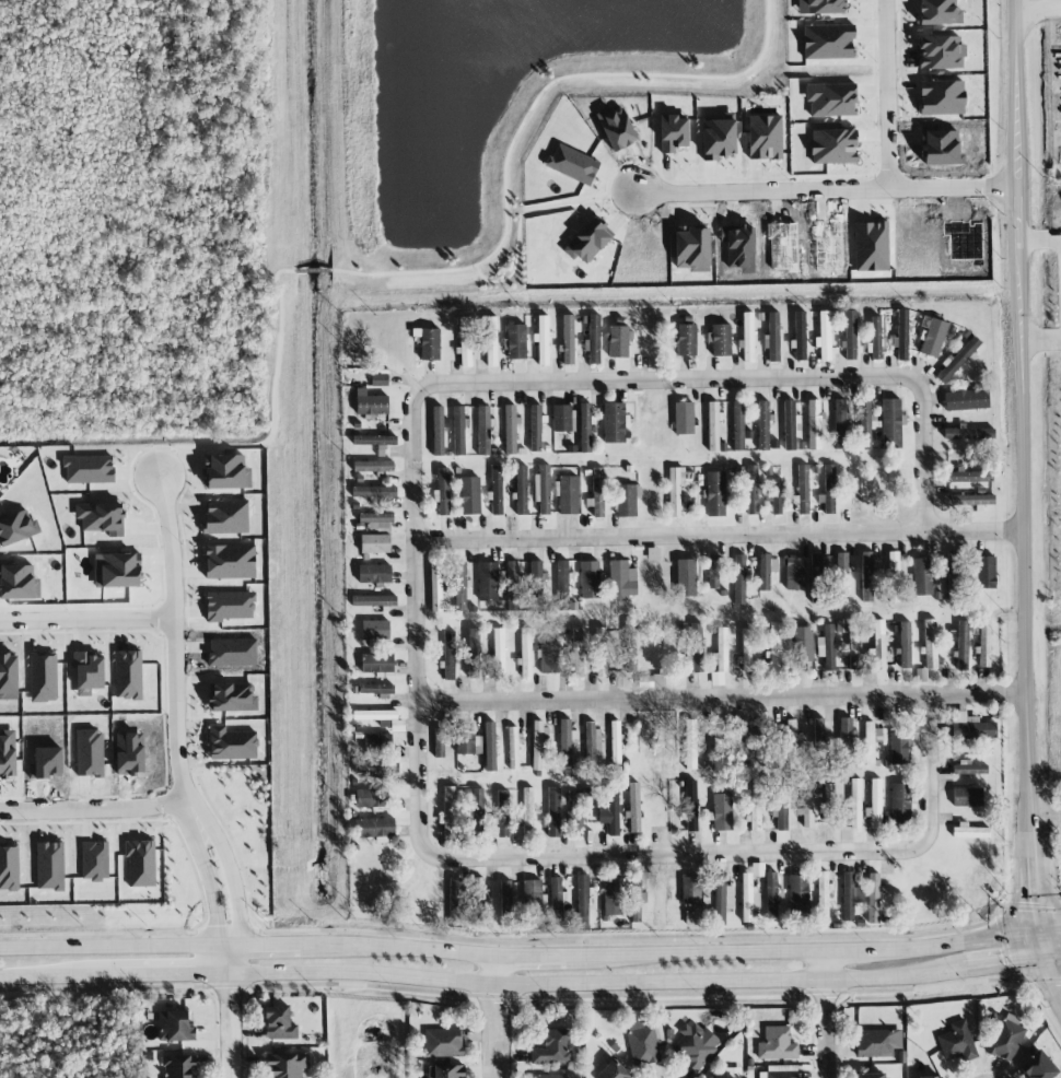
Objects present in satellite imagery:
road: (1050, 4)
road: (1056, 9)
road: (1033, 11)
building: (827, 42)
building: (941, 52)
road: (1052, 83)
building: (672, 132)
building: (718, 136)
building: (765, 137)
building: (832, 145)
road: (885, 159)
building: (572, 164)
road: (1017, 172)
road: (772, 196)
building: (587, 239)
road: (1040, 239)
building: (782, 245)
building: (738, 246)
building: (871, 246)
building: (691, 247)
building: (645, 255)
building: (850, 335)
building: (800, 336)
building: (824, 336)
building: (901, 336)
building: (747, 337)
building: (772, 337)
building: (541, 338)
building: (875, 338)
building: (933, 338)
building: (568, 339)
building: (685, 339)
building: (720, 339)
building: (593, 340)
building: (465, 341)
building: (490, 341)
building: (516, 341)
building: (618, 341)
building: (428, 343)
road: (1040, 343)
building: (956, 360)
road: (743, 378)
building: (372, 405)
building: (562, 418)
building: (683, 418)
building: (891, 422)
building: (613, 423)
building: (840, 423)
building: (865, 423)
building: (790, 424)
building: (737, 425)
building: (762, 425)
building: (814, 425)
building: (712, 426)
building: (535, 427)
building: (585, 427)
building: (510, 429)
building: (438, 431)
building: (458, 431)
building: (483, 431)
building: (968, 433)
building: (374, 440)
building: (372, 467)
building: (89, 469)
building: (226, 472)
building: (967, 477)
building: (677, 488)
building: (543, 489)
building: (803, 489)
building: (829, 489)
building: (497, 490)
building: (521, 490)
building: (751, 490)
building: (597, 492)
building: (374, 493)
building: (442, 493)
building: (715, 493)
building: (853, 494)
building: (469, 495)
building: (568, 495)
building: (773, 496)
building: (627, 500)
building: (968, 500)
building: (101, 518)
building: (376, 520)
building: (16, 527)
road: (719, 534)
building: (374, 543)
building: (230, 562)
building: (117, 571)
building: (766, 571)
building: (714, 572)
building: (954, 572)
building: (984, 572)
building: (374, 573)
building: (794, 573)
building: (893, 575)
building: (923, 575)
building: (512, 576)
building: (817, 576)
building: (866, 576)
building: (563, 577)
building: (536, 578)
building: (686, 578)
building: (739, 578)
building: (842, 578)
building: (590, 579)
building: (621, 581)
building: (18, 582)
building: (488, 582)
building: (435, 587)
building: (460, 587)
building: (373, 600)
road: (86, 619)
road: (417, 620)
building: (841, 625)
building: (375, 630)
road: (1024, 635)
building: (983, 643)
building: (692, 644)
building: (802, 644)
building: (879, 644)
building: (905, 644)
building: (930, 644)
building: (852, 645)
building: (963, 645)
building: (774, 646)
building: (826, 646)
building: (631, 649)
building: (722, 649)
building: (746, 649)
building: (602, 652)
road: (174, 653)
building: (498, 653)
building: (525, 653)
building: (579, 653)
building: (474, 654)
building: (448, 655)
building: (549, 657)
building: (376, 663)
building: (89, 670)
building: (128, 675)
building: (651, 681)
building: (374, 689)
building: (232, 696)
road: (721, 696)
building: (374, 715)
building: (397, 726)
building: (970, 727)
building: (716, 730)
building: (441, 738)
building: (847, 738)
building: (467, 740)
building: (616, 740)
building: (871, 741)
building: (592, 742)
building: (788, 742)
building: (231, 743)
building: (377, 743)
building: (537, 743)
building: (564, 743)
building: (743, 743)
building: (489, 747)
building: (513, 747)
building: (898, 747)
building: (766, 749)
building: (7, 752)
building: (376, 769)
building: (968, 769)
road: (931, 770)
building: (967, 797)
building: (369, 798)
building: (899, 801)
building: (828, 802)
building: (854, 804)
building: (874, 805)
building: (690, 806)
building: (633, 807)
building: (755, 807)
building: (806, 807)
building: (779, 809)
building: (475, 810)
building: (527, 810)
road: (92, 811)
building: (448, 811)
building: (553, 811)
road: (1045, 811)
building: (609, 812)
building: (722, 812)
building: (502, 813)
building: (576, 815)
building: (374, 828)
building: (969, 831)
road: (675, 854)
building: (94, 860)
building: (49, 866)
road: (233, 879)
road: (212, 886)
building: (695, 890)
building: (797, 892)
building: (534, 893)
building: (771, 894)
building: (823, 894)
building: (850, 894)
building: (478, 895)
building: (613, 897)
building: (722, 898)
building: (748, 898)
building: (873, 898)
building: (557, 901)
building: (456, 902)
building: (582, 902)
building: (506, 903)
building: (661, 904)
building: (690, 918)
road: (1047, 925)
road: (360, 929)
road: (896, 936)
road: (266, 942)
road: (115, 945)
road: (398, 946)
road: (800, 950)
road: (530, 953)
road: (1043, 961)
road: (957, 983)
road: (530, 985)
road: (114, 989)
road: (541, 997)
road: (229, 1010)
road: (825, 1013)
road: (494, 1015)
building: (279, 1023)
building: (174, 1027)
building: (1006, 1038)
building: (957, 1042)
building: (443, 1043)
building: (877, 1043)
building: (695, 1044)
building: (776, 1044)
building: (642, 1045)
building: (552, 1047)
building: (287, 1065)
building: (178, 1066)
building: (1037, 1066)
building: (448, 1070)
building: (613, 1070)
building: (779, 1071)
building: (550, 1076)
building: (871, 1076)
building: (722, 1077)
building: (930, 1077)

